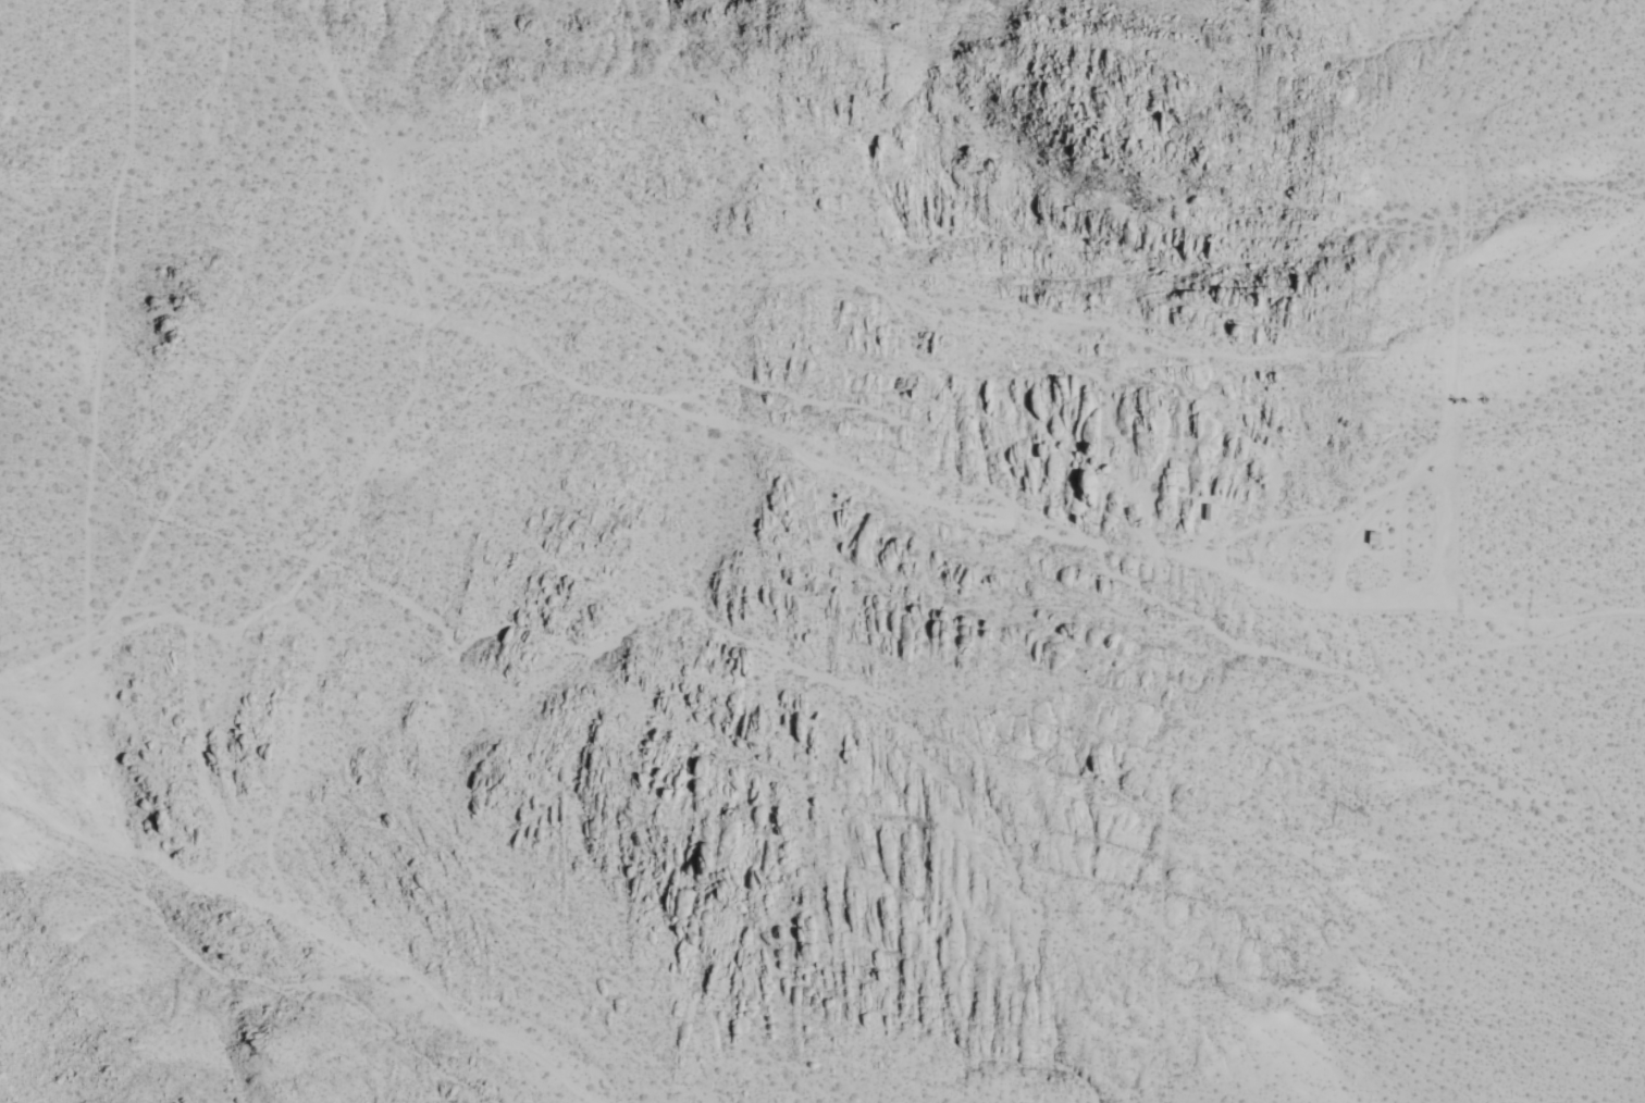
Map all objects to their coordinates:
road: (308, 924)

